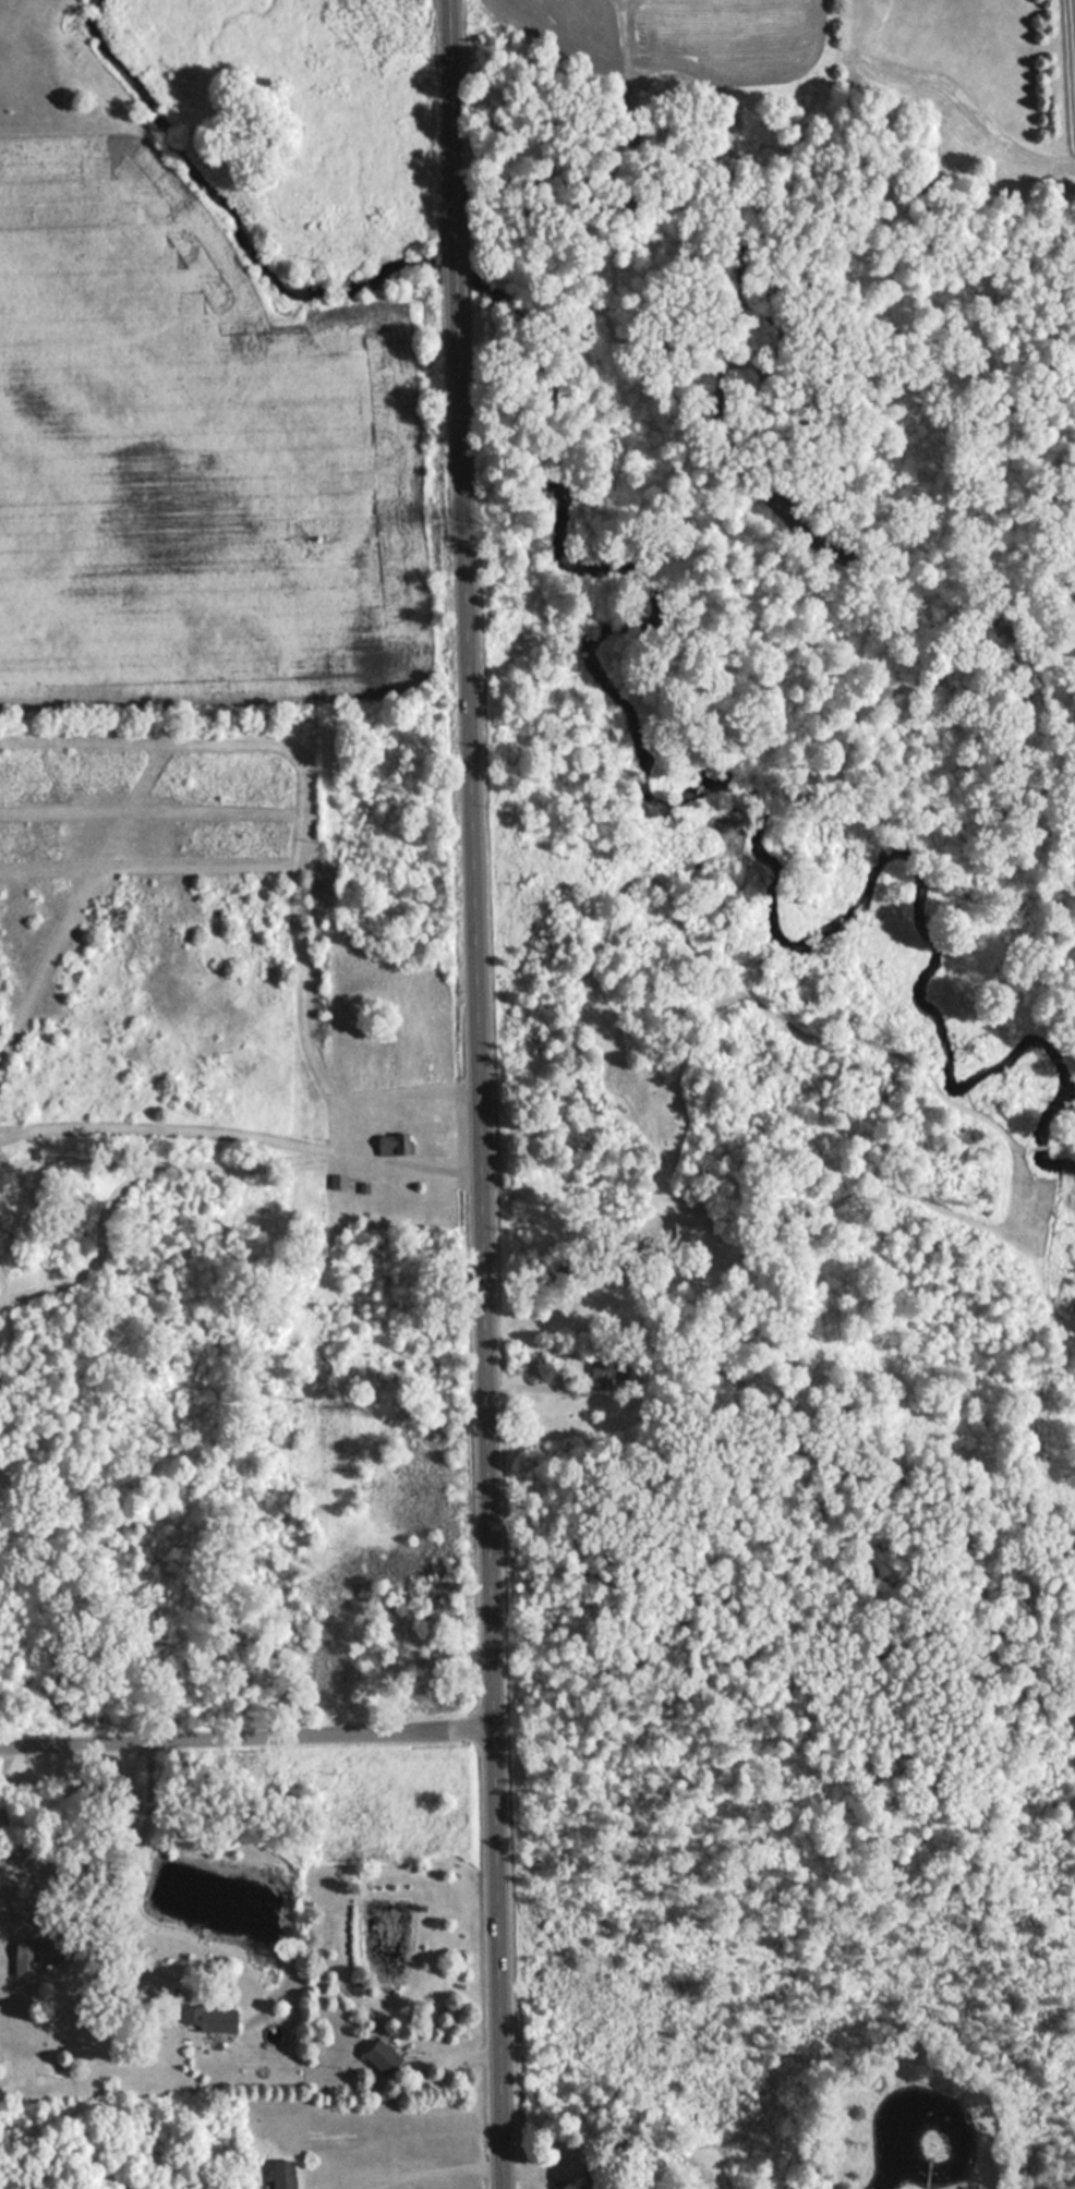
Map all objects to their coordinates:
road: (478, 1093)
building: (391, 1145)
building: (604, 1376)
road: (245, 1732)
building: (37, 1954)
building: (208, 2018)
building: (379, 2056)
road: (425, 2173)
building: (280, 2174)
building: (594, 2177)

